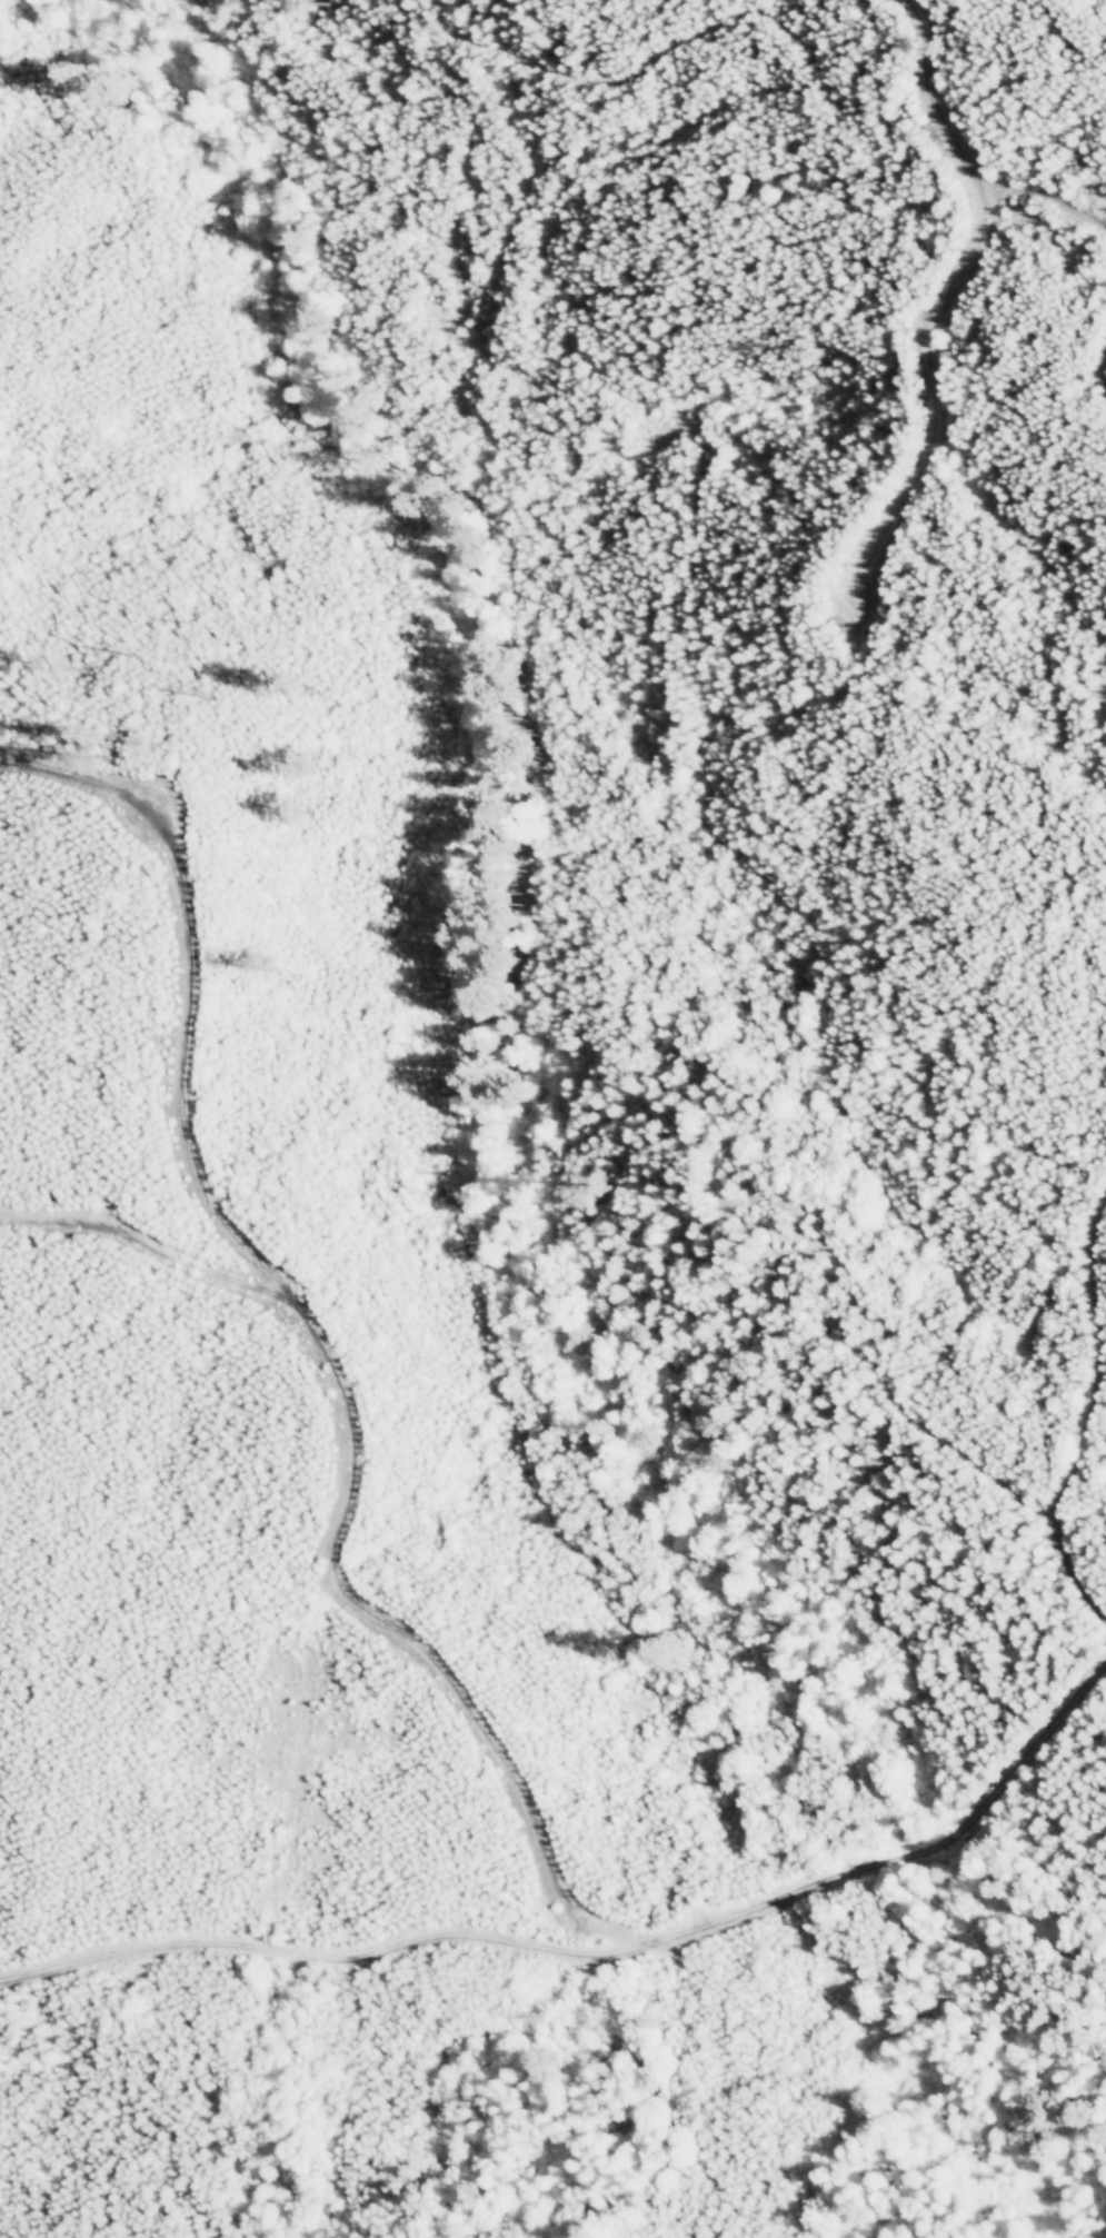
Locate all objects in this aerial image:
road: (764, 199)
road: (1083, 1393)
road: (607, 1991)

